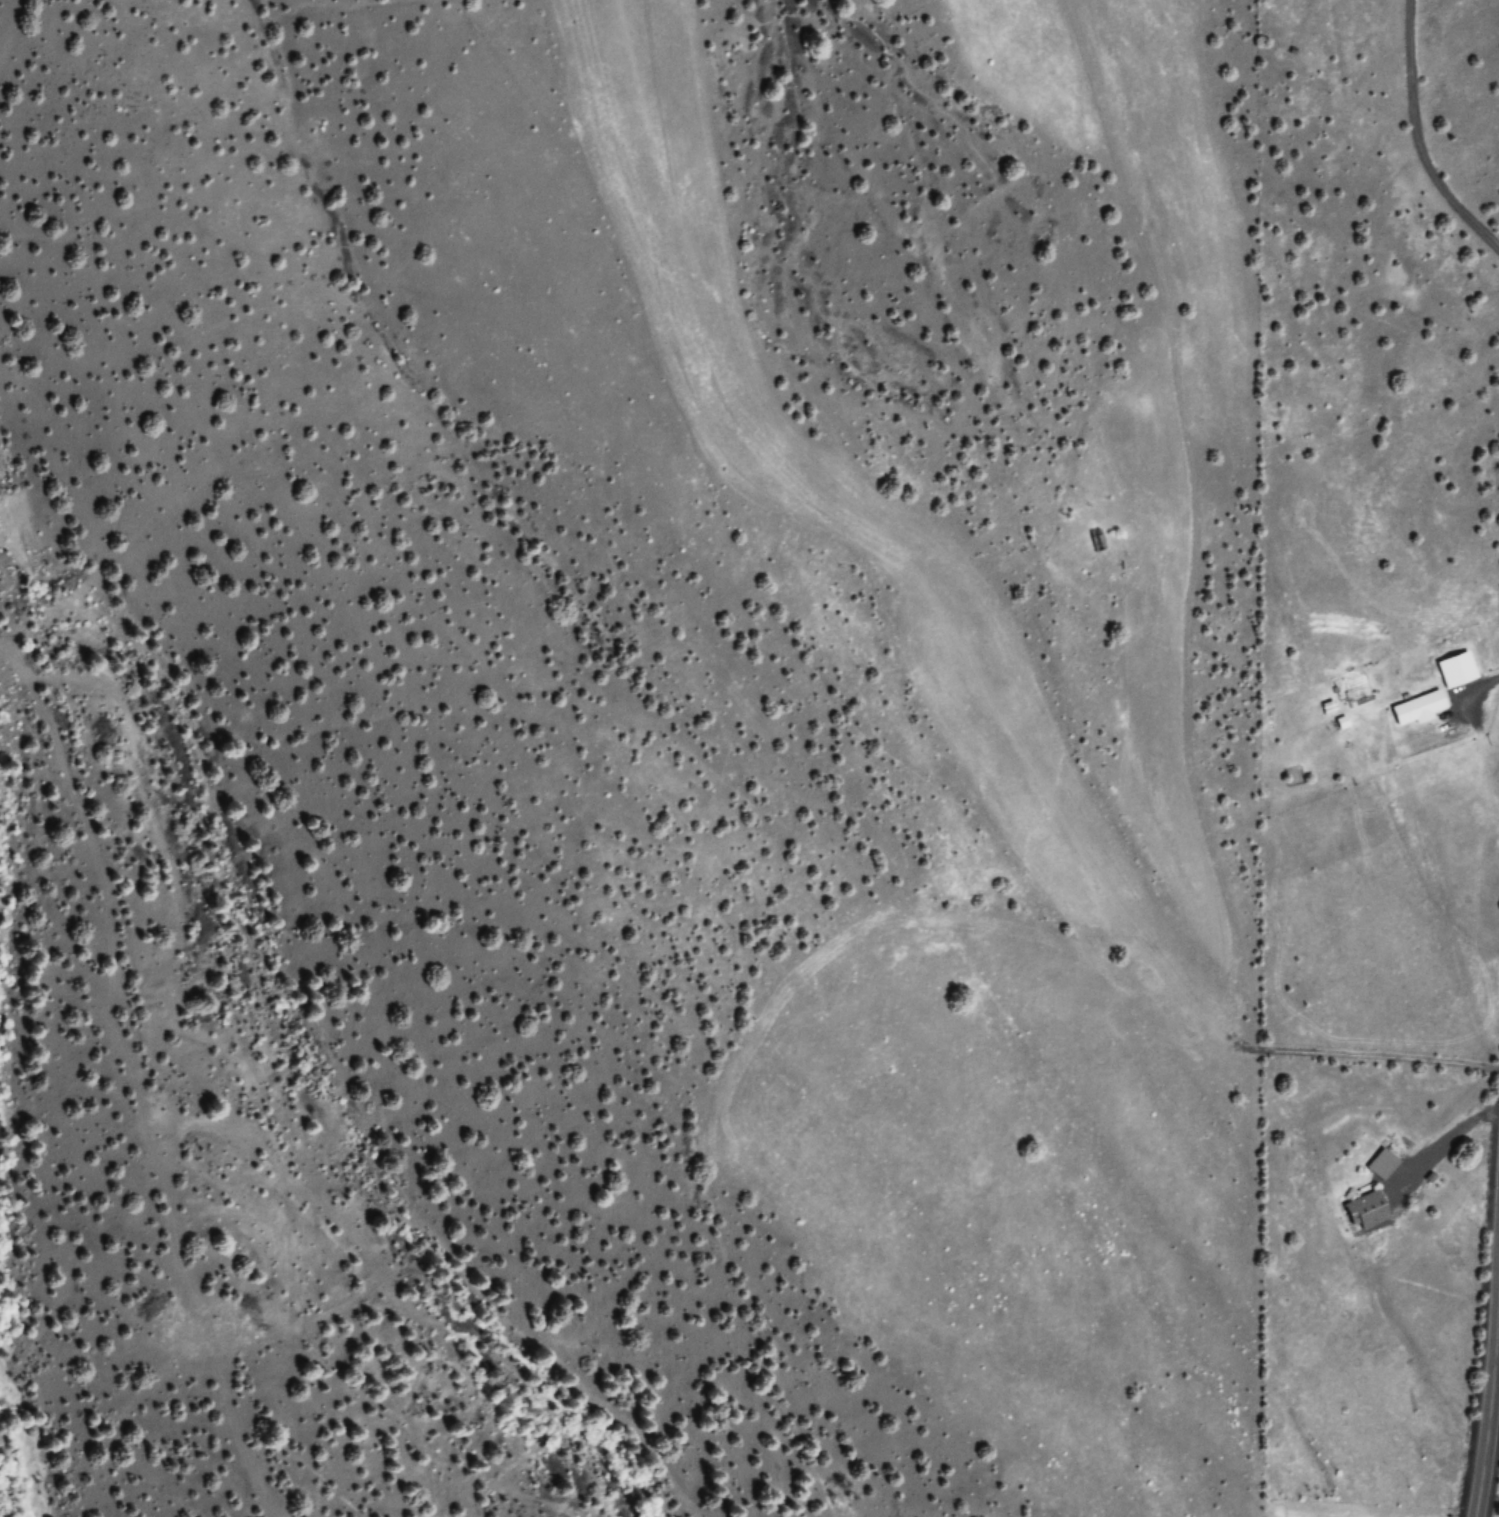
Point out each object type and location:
building: (1418, 708)
road: (1449, 1138)
building: (1380, 1164)
building: (1365, 1210)
road: (1490, 1423)

